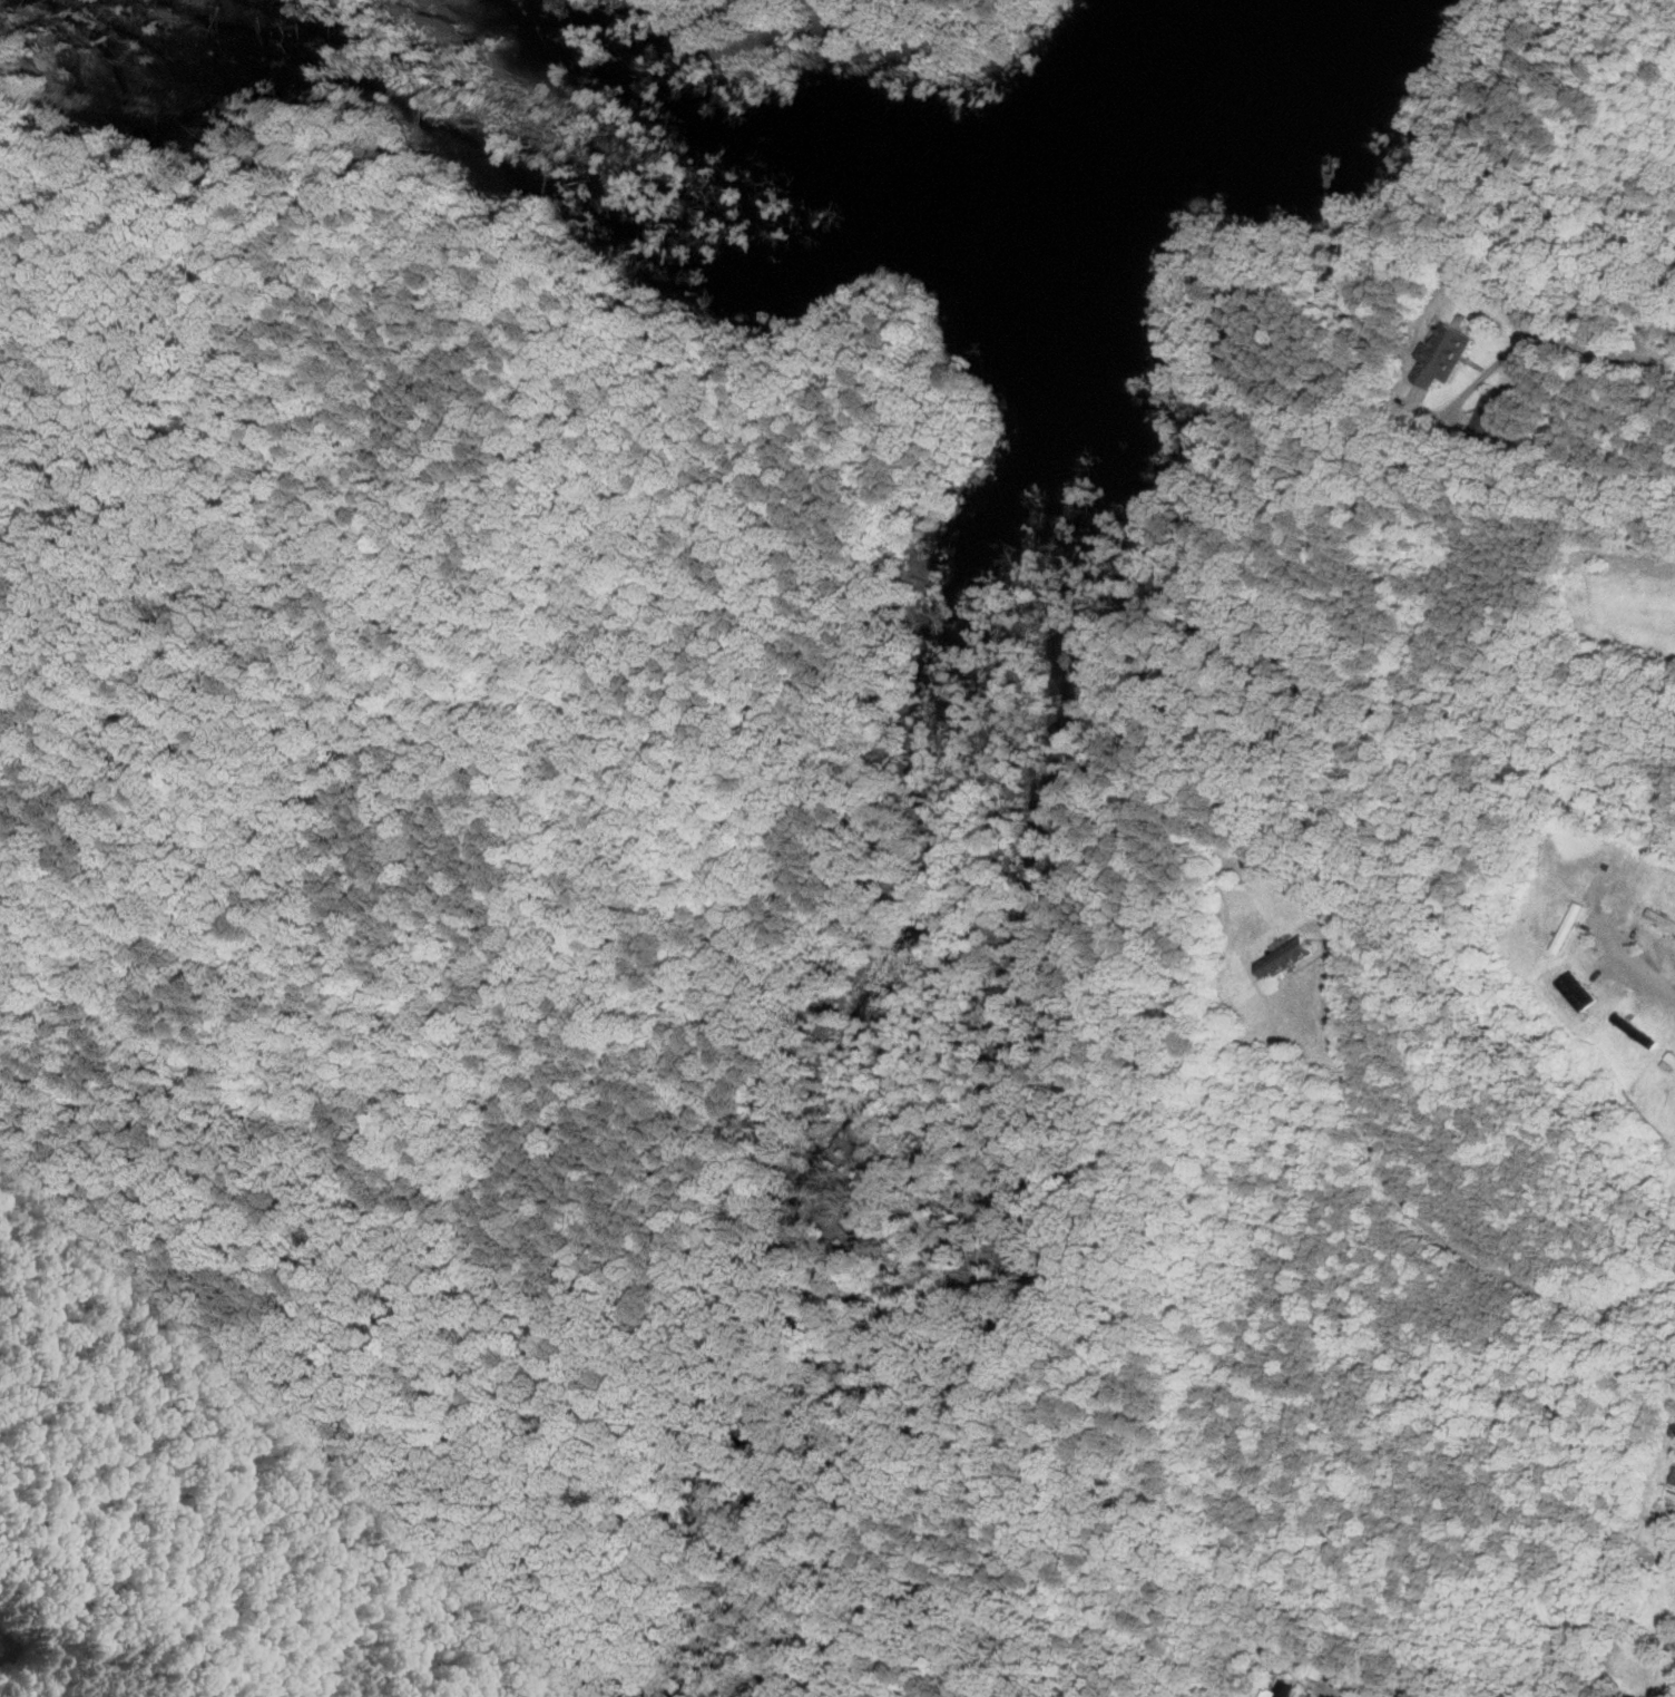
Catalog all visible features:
road: (1530, 341)
building: (1448, 355)
building: (1489, 420)
building: (1571, 927)
building: (1290, 957)
road: (1645, 967)
building: (1580, 991)
building: (1635, 1028)
building: (1673, 1059)
road: (1413, 1213)
building: (1285, 1689)

